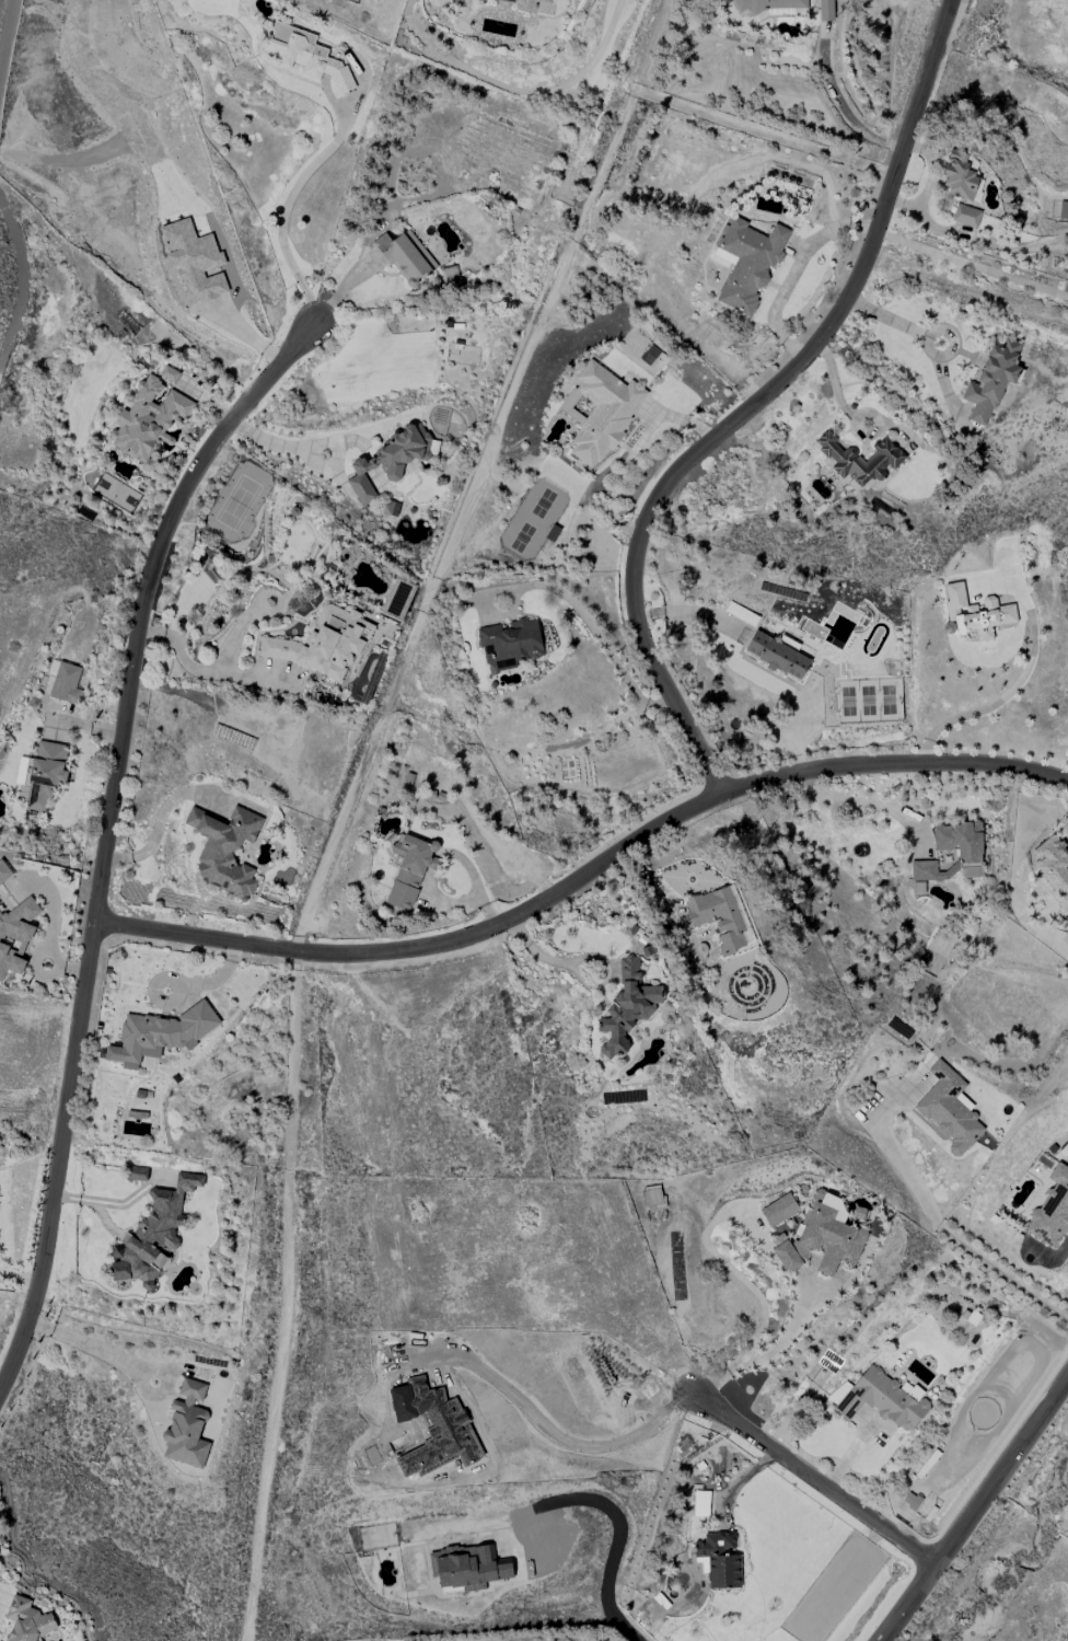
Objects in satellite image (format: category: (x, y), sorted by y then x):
building: (526, 4)
building: (771, 7)
building: (826, 10)
road: (7, 43)
building: (304, 56)
building: (960, 176)
building: (1064, 210)
building: (966, 216)
building: (406, 257)
building: (194, 261)
building: (748, 262)
road: (974, 265)
road: (21, 288)
building: (169, 374)
building: (992, 379)
road: (755, 405)
building: (603, 413)
building: (148, 421)
building: (390, 460)
building: (884, 460)
road: (689, 613)
building: (977, 614)
building: (324, 644)
building: (510, 644)
building: (777, 654)
building: (66, 683)
road: (1012, 693)
building: (45, 774)
road: (861, 801)
building: (960, 841)
road: (107, 843)
building: (224, 850)
building: (1054, 867)
building: (925, 870)
building: (408, 871)
building: (4, 872)
road: (588, 881)
building: (720, 917)
building: (15, 936)
building: (627, 1007)
building: (160, 1035)
building: (950, 1109)
building: (137, 1114)
building: (779, 1210)
building: (1052, 1211)
road: (928, 1214)
building: (152, 1234)
building: (822, 1237)
road: (93, 1348)
building: (881, 1399)
building: (187, 1426)
road: (559, 1431)
road: (820, 1482)
building: (701, 1503)
road: (974, 1510)
road: (617, 1532)
building: (719, 1560)
building: (468, 1567)
road: (1, 1591)
building: (26, 1620)

